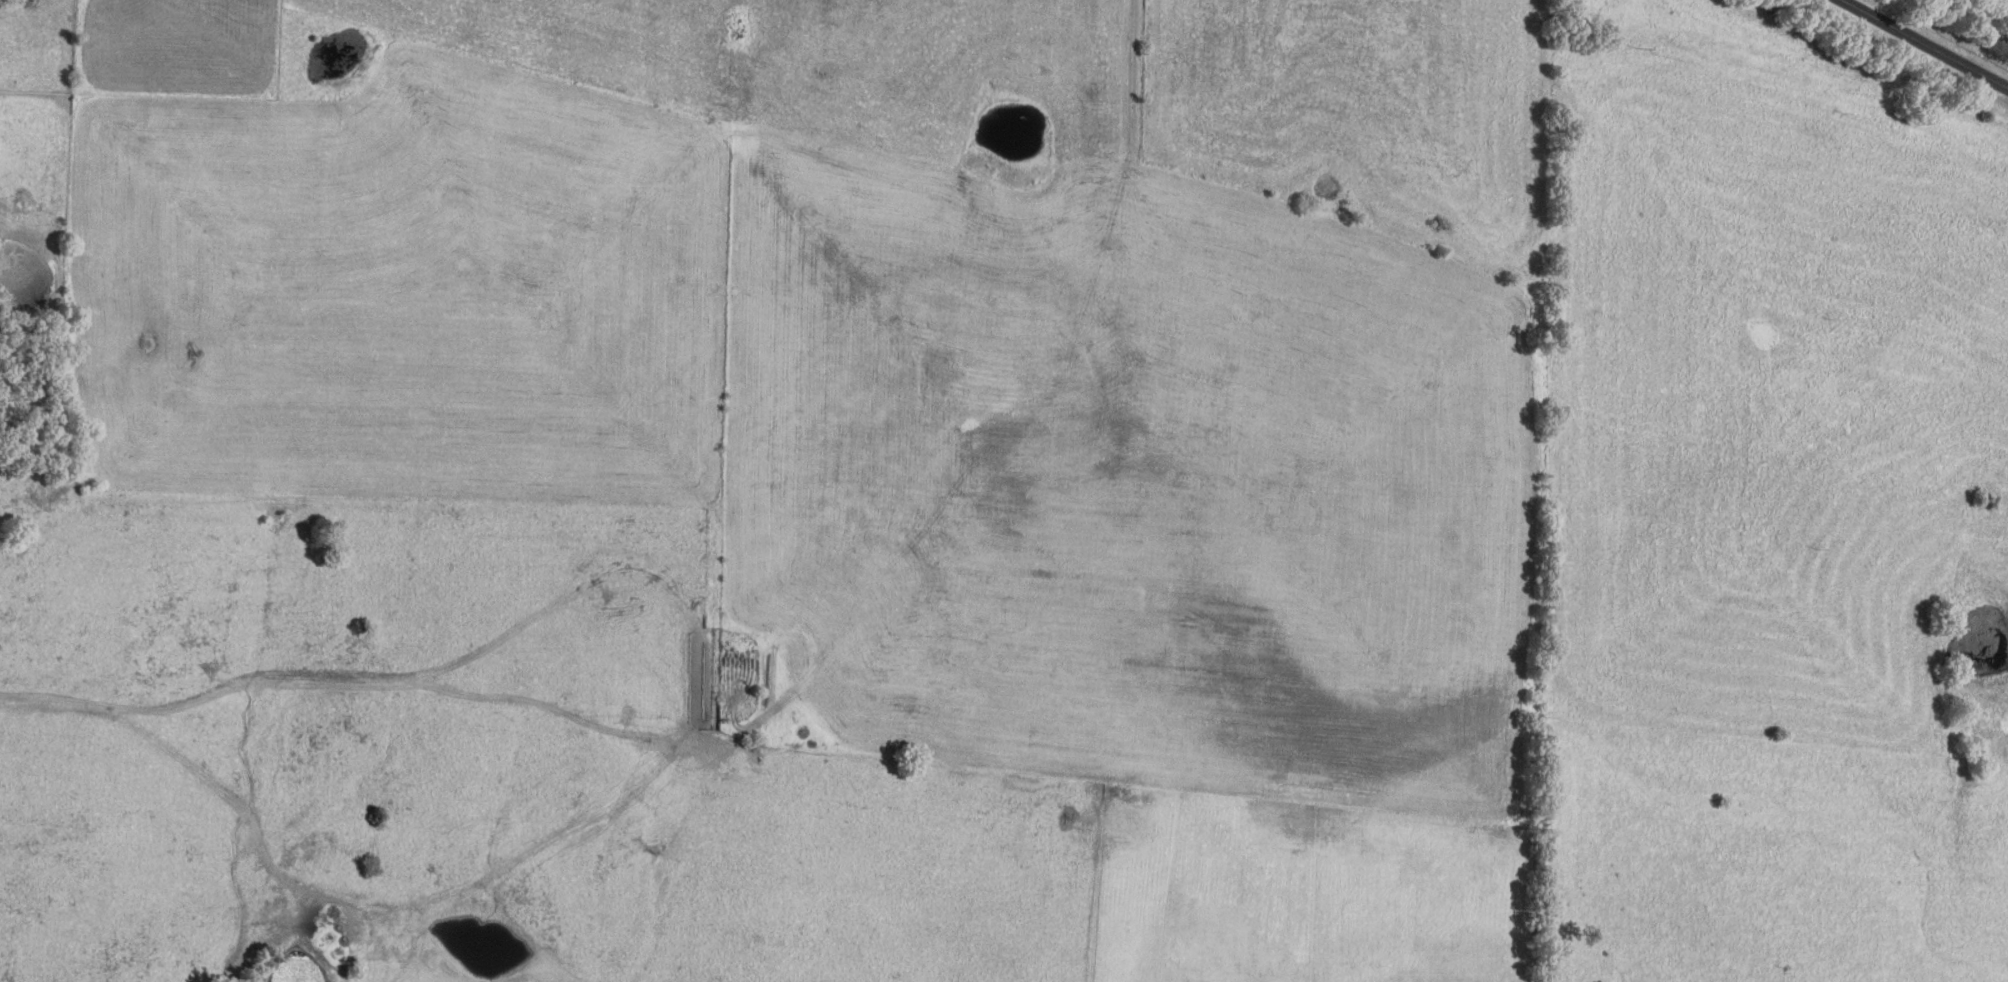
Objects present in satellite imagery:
road: (1923, 43)

